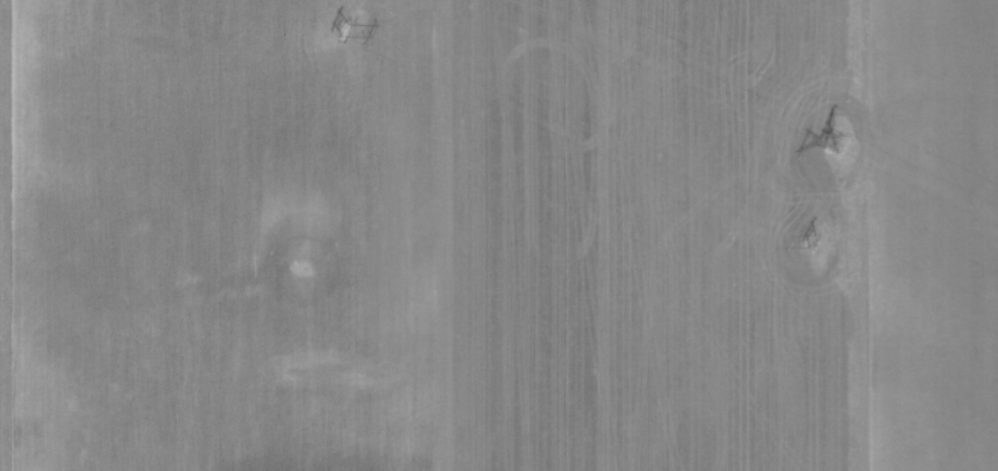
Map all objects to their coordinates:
power tower: (345, 26)
power tower: (834, 138)
crop: (499, 235)
power tower: (811, 241)

